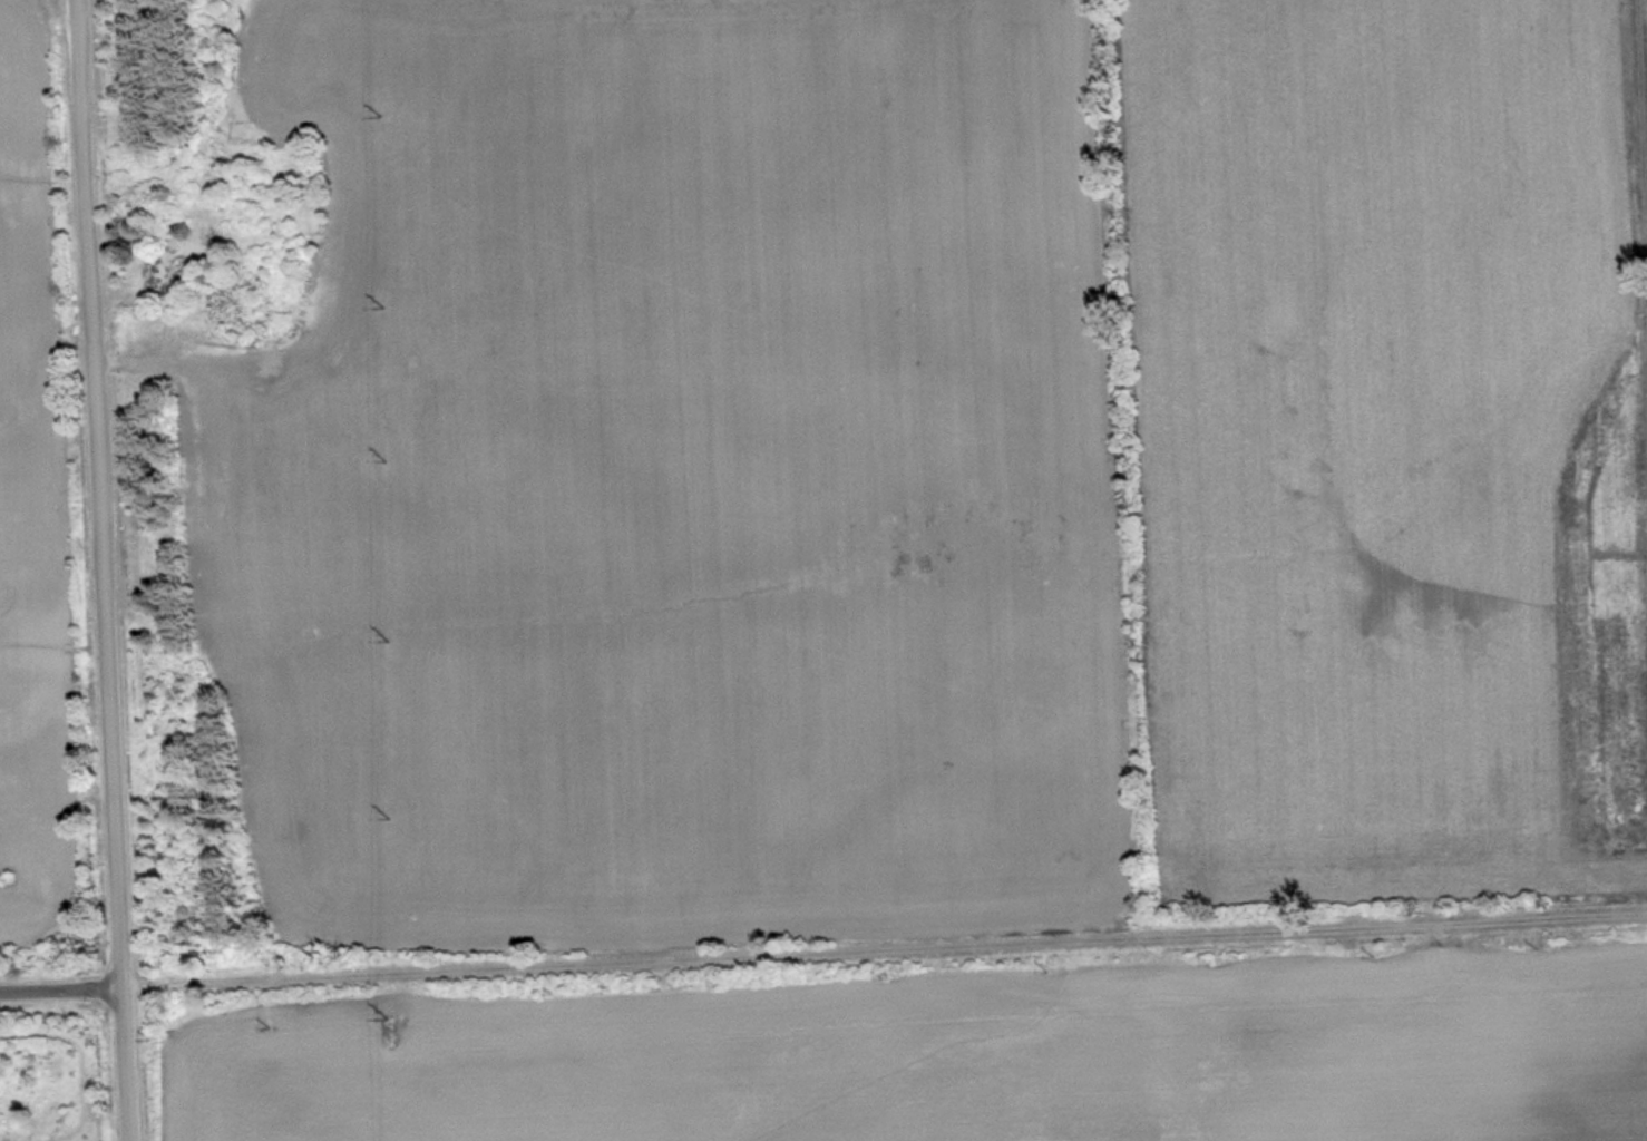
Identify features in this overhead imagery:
road: (1644, 129)
road: (100, 569)
road: (822, 948)

